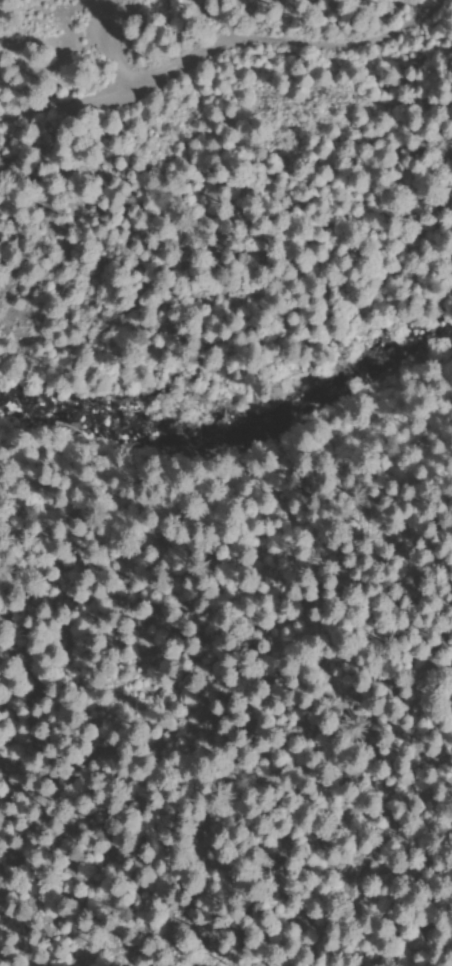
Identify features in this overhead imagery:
road: (227, 42)
river: (233, 430)

